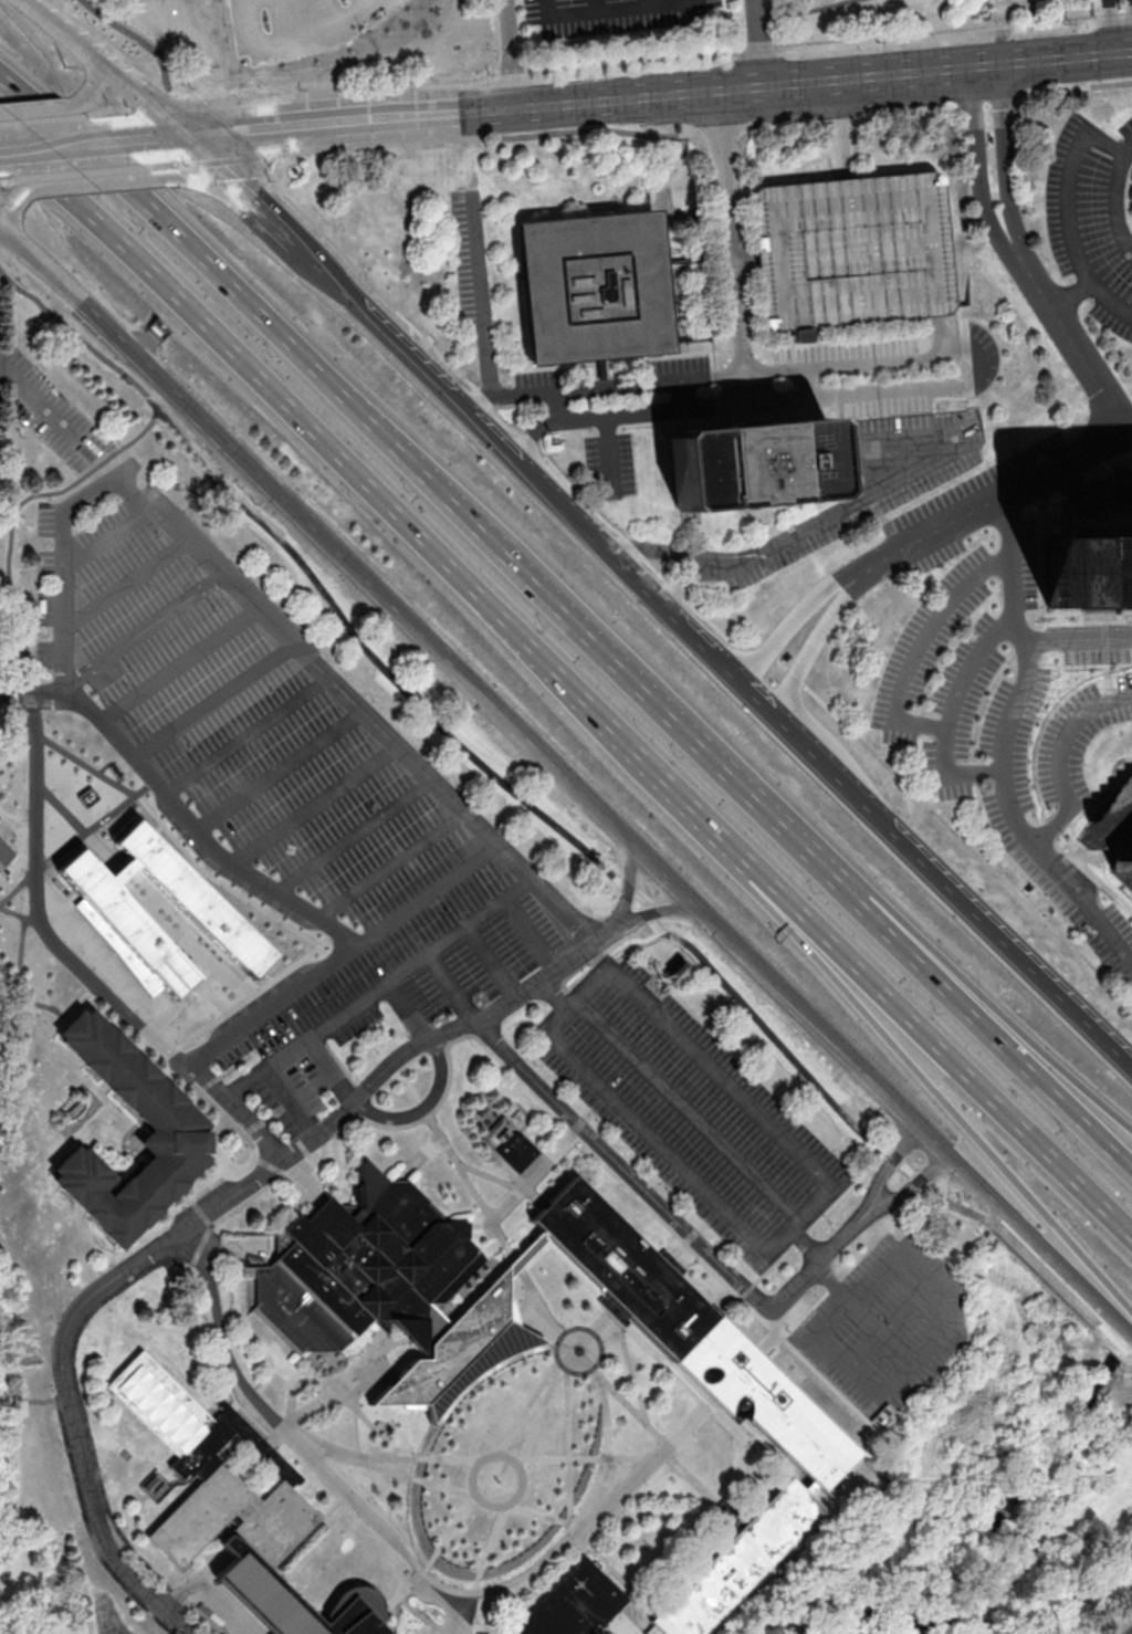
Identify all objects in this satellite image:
road: (27, 1)
road: (616, 10)
road: (1117, 14)
road: (1108, 29)
road: (939, 30)
road: (763, 44)
road: (313, 45)
road: (771, 49)
road: (510, 55)
road: (111, 69)
road: (96, 82)
road: (397, 83)
road: (191, 97)
road: (633, 103)
road: (915, 104)
road: (40, 107)
road: (228, 128)
road: (479, 136)
traffic signals: (190, 138)
road: (92, 146)
road: (24, 150)
road: (230, 159)
road: (169, 165)
road: (109, 169)
road: (77, 172)
road: (44, 176)
road: (229, 177)
road: (7, 180)
road: (1013, 181)
road: (91, 182)
road: (979, 187)
road: (212, 189)
road: (1117, 206)
road: (1067, 209)
road: (10, 213)
road: (277, 226)
building: (850, 251)
road: (200, 255)
road: (366, 280)
building: (593, 286)
road: (484, 297)
road: (1109, 302)
road: (849, 364)
road: (249, 366)
road: (740, 374)
road: (48, 413)
parking lot: (53, 415)
road: (541, 426)
road: (1080, 460)
building: (750, 464)
road: (830, 520)
road: (11, 523)
road: (109, 541)
road: (689, 556)
building: (1087, 570)
road: (126, 587)
road: (544, 593)
road: (63, 599)
road: (804, 608)
road: (145, 632)
road: (1076, 638)
road: (824, 646)
road: (710, 650)
road: (179, 667)
road: (397, 682)
road: (32, 683)
road: (33, 695)
road: (216, 702)
road: (17, 705)
road: (898, 709)
road: (249, 736)
road: (622, 740)
road: (1002, 751)
road: (1061, 757)
road: (279, 771)
road: (950, 775)
road: (569, 783)
parking lot: (283, 805)
road: (119, 806)
road: (313, 806)
road: (59, 807)
road: (766, 810)
road: (15, 817)
building: (0, 823)
building: (1111, 826)
road: (157, 829)
road: (184, 832)
road: (353, 836)
road: (57, 852)
road: (983, 860)
road: (211, 861)
building: (7, 862)
road: (391, 866)
building: (1123, 868)
road: (630, 883)
road: (244, 886)
road: (229, 888)
road: (17, 889)
road: (427, 895)
road: (274, 904)
road: (60, 909)
road: (12, 912)
road: (654, 915)
building: (115, 918)
road: (159, 920)
road: (184, 928)
road: (161, 929)
road: (605, 933)
road: (530, 935)
road: (328, 939)
road: (628, 941)
road: (21, 955)
road: (491, 963)
road: (608, 970)
road: (249, 977)
road: (196, 983)
road: (379, 989)
road: (451, 992)
road: (552, 997)
road: (212, 998)
road: (988, 999)
road: (30, 1001)
road: (181, 1001)
road: (174, 1004)
road: (80, 1006)
road: (407, 1013)
road: (984, 1026)
road: (769, 1035)
road: (455, 1039)
road: (943, 1055)
road: (333, 1071)
road: (396, 1073)
road: (184, 1077)
road: (944, 1098)
road: (291, 1104)
road: (423, 1109)
parking lot: (690, 1111)
road: (689, 1112)
building: (180, 1133)
road: (209, 1144)
building: (510, 1144)
road: (211, 1146)
road: (547, 1158)
road: (419, 1159)
road: (902, 1165)
road: (271, 1166)
road: (622, 1166)
road: (888, 1166)
road: (343, 1169)
road: (490, 1176)
road: (518, 1182)
road: (307, 1186)
road: (911, 1190)
road: (481, 1207)
road: (478, 1224)
road: (813, 1224)
road: (189, 1228)
road: (693, 1234)
road: (807, 1244)
road: (240, 1248)
road: (893, 1260)
road: (818, 1261)
road: (1039, 1266)
building: (365, 1268)
building: (619, 1268)
road: (471, 1293)
road: (863, 1314)
road: (796, 1319)
road: (531, 1320)
road: (892, 1324)
road: (601, 1329)
parking lot: (882, 1332)
road: (581, 1336)
road: (380, 1339)
building: (460, 1350)
road: (218, 1354)
road: (660, 1355)
road: (336, 1365)
road: (382, 1370)
road: (630, 1370)
road: (595, 1373)
road: (339, 1390)
road: (837, 1393)
building: (765, 1402)
road: (530, 1406)
road: (539, 1413)
road: (85, 1417)
road: (606, 1421)
road: (731, 1424)
road: (356, 1434)
road: (657, 1435)
road: (296, 1442)
road: (315, 1444)
road: (568, 1444)
road: (902, 1447)
road: (507, 1456)
road: (509, 1458)
road: (504, 1465)
park: (507, 1466)
building: (211, 1470)
road: (398, 1473)
road: (640, 1475)
road: (691, 1478)
road: (918, 1483)
building: (157, 1487)
road: (601, 1494)
road: (615, 1507)
road: (1002, 1512)
road: (538, 1513)
road: (591, 1513)
road: (673, 1513)
road: (321, 1515)
road: (316, 1529)
road: (450, 1532)
road: (1111, 1532)
road: (620, 1544)
road: (1081, 1544)
road: (491, 1549)
road: (612, 1560)
building: (736, 1560)
road: (191, 1572)
road: (206, 1572)
road: (616, 1574)
road: (510, 1582)
road: (1013, 1582)
road: (1063, 1586)
road: (402, 1591)
road: (207, 1595)
building: (295, 1600)
building: (578, 1606)
road: (464, 1614)
road: (197, 1616)
road: (423, 1617)
road: (185, 1620)
road: (1129, 1631)

